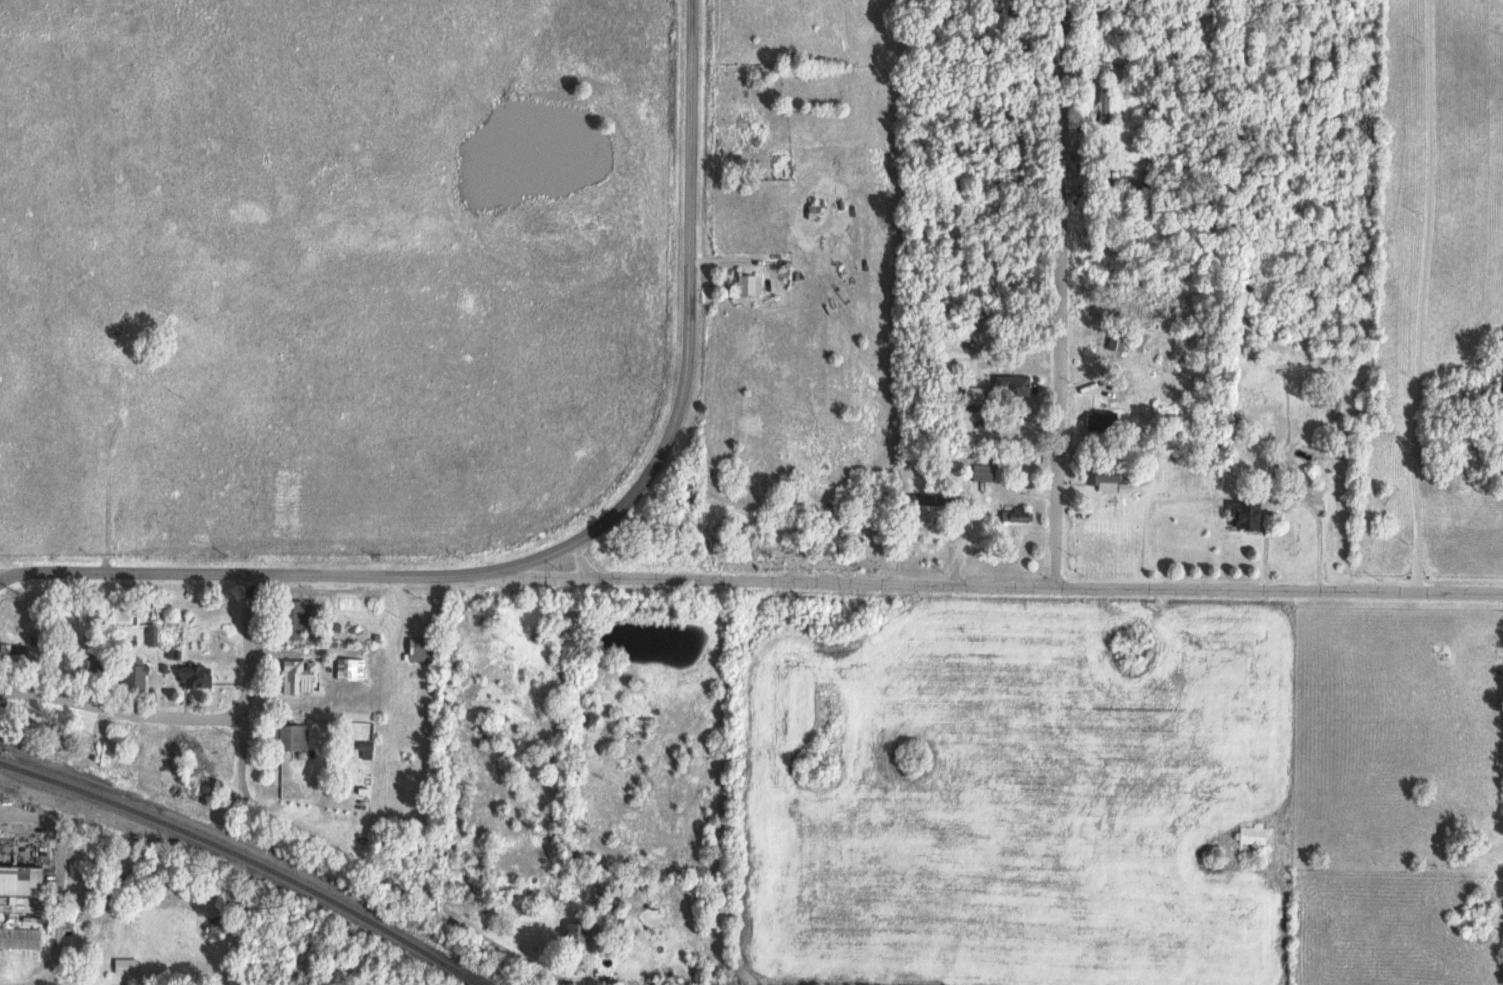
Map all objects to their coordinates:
building: (1105, 96)
building: (750, 285)
road: (1058, 293)
road: (1418, 298)
building: (1257, 300)
road: (685, 345)
building: (1017, 385)
building: (1103, 420)
building: (984, 472)
building: (1105, 475)
building: (1017, 514)
building: (1249, 515)
road: (236, 572)
road: (0, 574)
road: (0, 574)
road: (987, 585)
building: (298, 621)
building: (423, 650)
building: (13, 655)
building: (94, 665)
building: (352, 669)
building: (137, 673)
building: (198, 677)
building: (294, 677)
road: (119, 713)
building: (296, 738)
building: (367, 751)
road: (294, 831)
railway: (250, 858)
building: (608, 888)
building: (23, 890)
road: (55, 890)
building: (23, 934)
building: (581, 935)
building: (127, 966)

